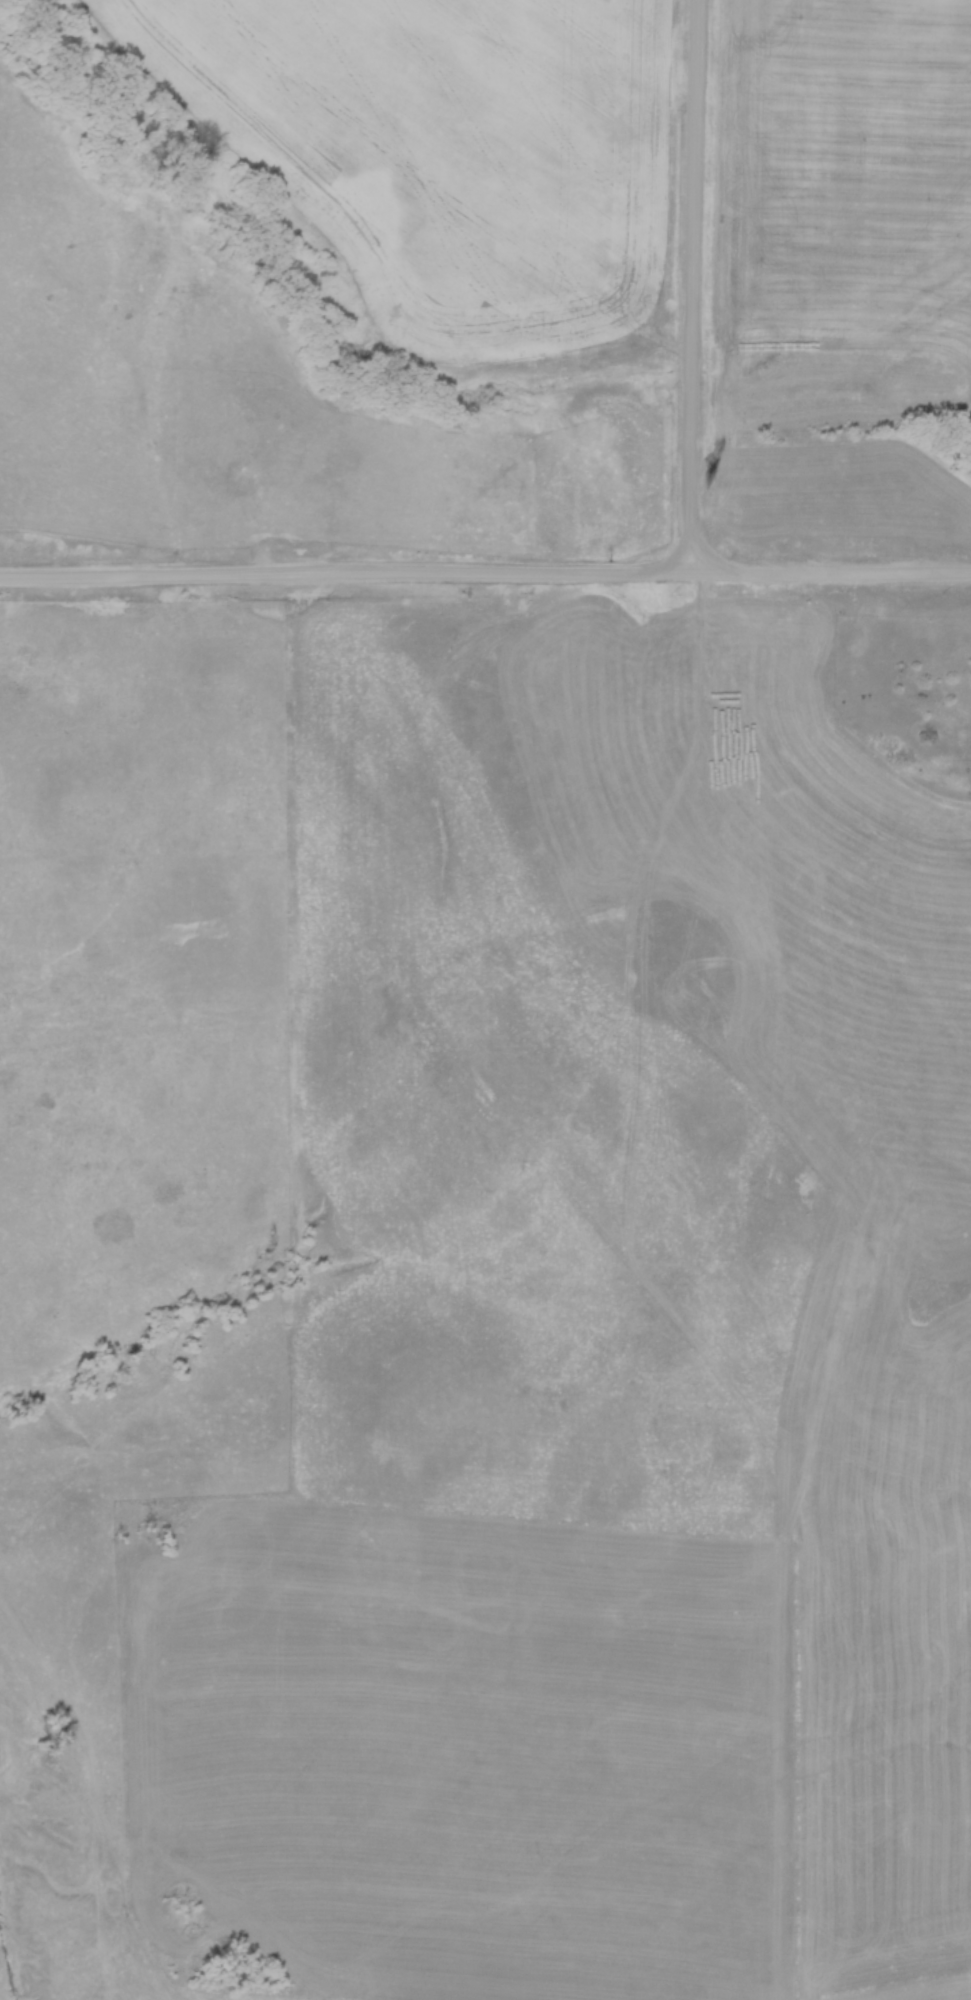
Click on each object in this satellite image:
road: (695, 289)
road: (831, 578)
road: (345, 579)

